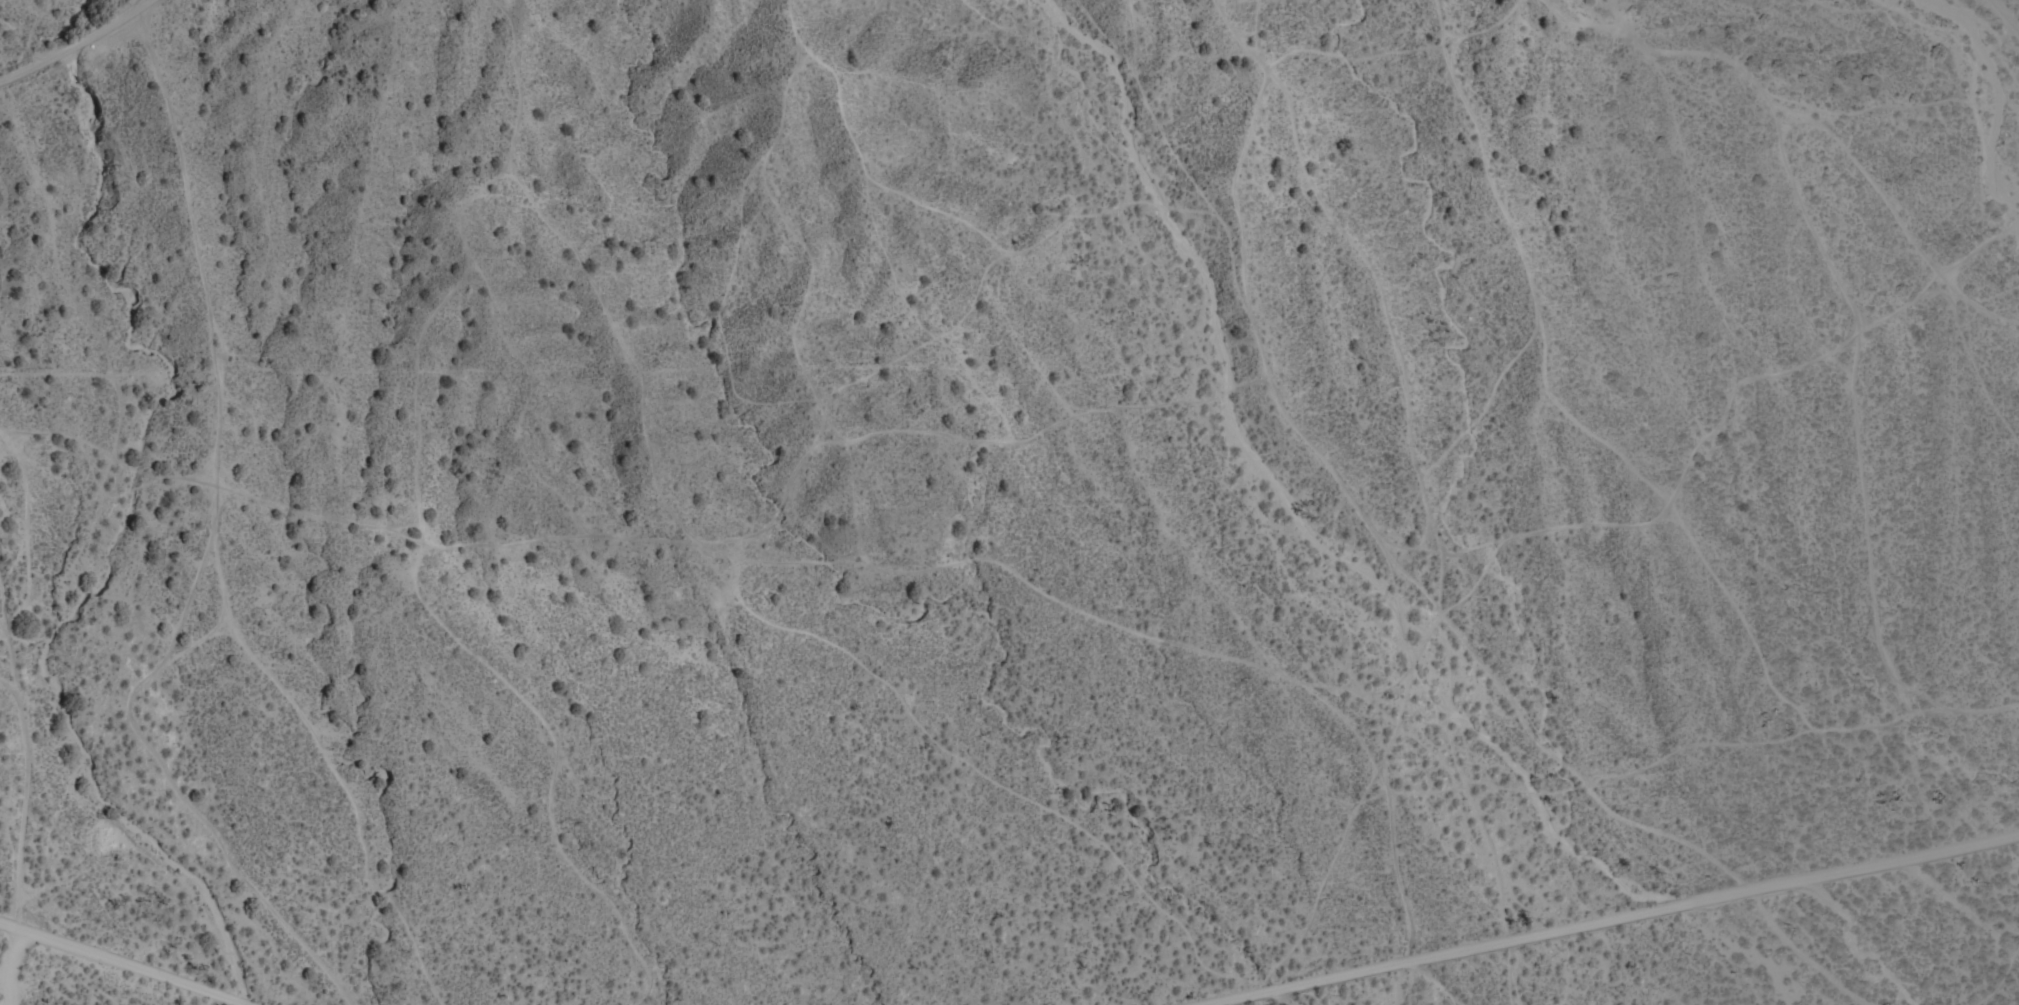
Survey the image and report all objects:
road: (1998, 24)
road: (75, 42)
road: (21, 811)
road: (1602, 919)
road: (126, 961)
road: (1399, 983)

